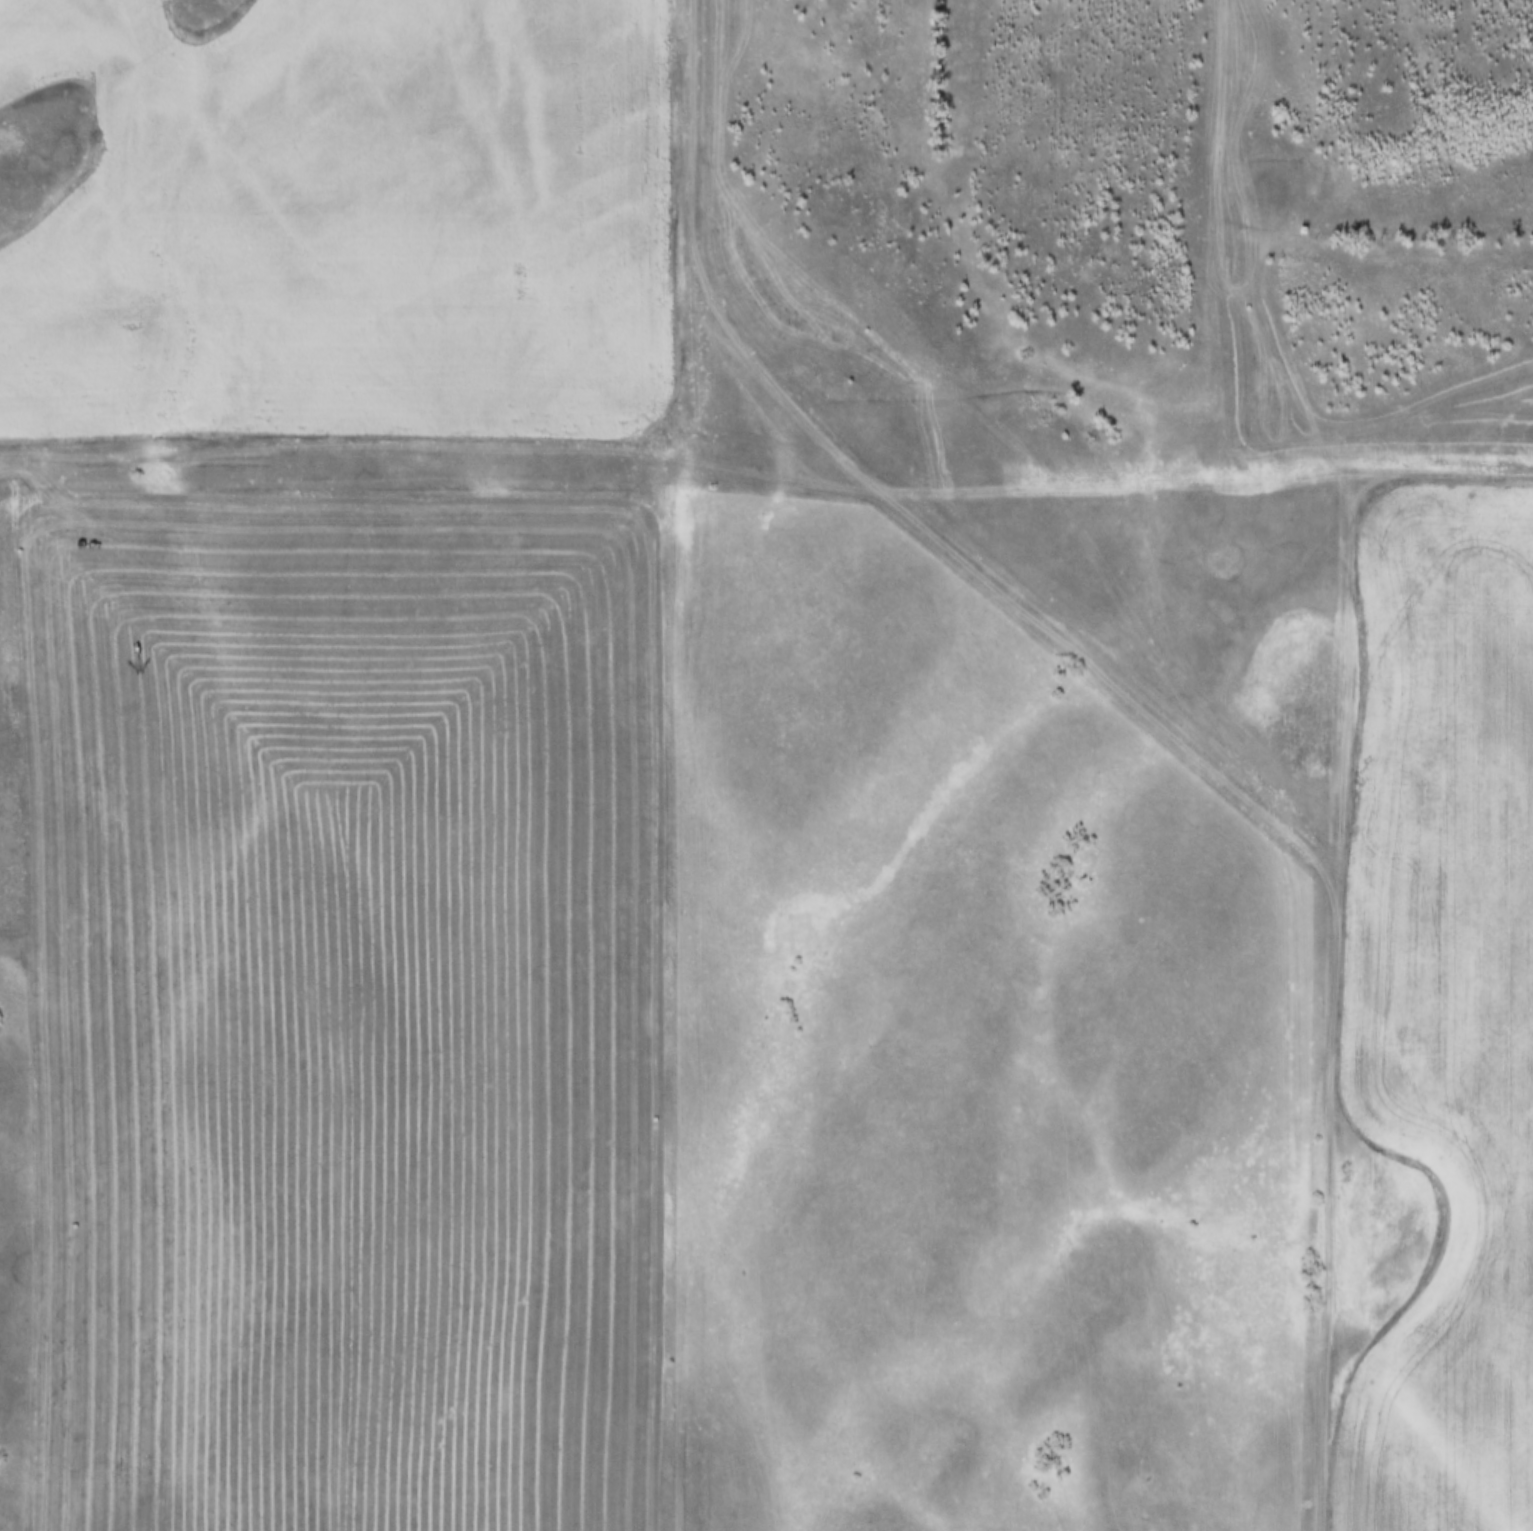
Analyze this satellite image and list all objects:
road: (705, 273)
road: (767, 472)
road: (1107, 681)
road: (1335, 1002)

